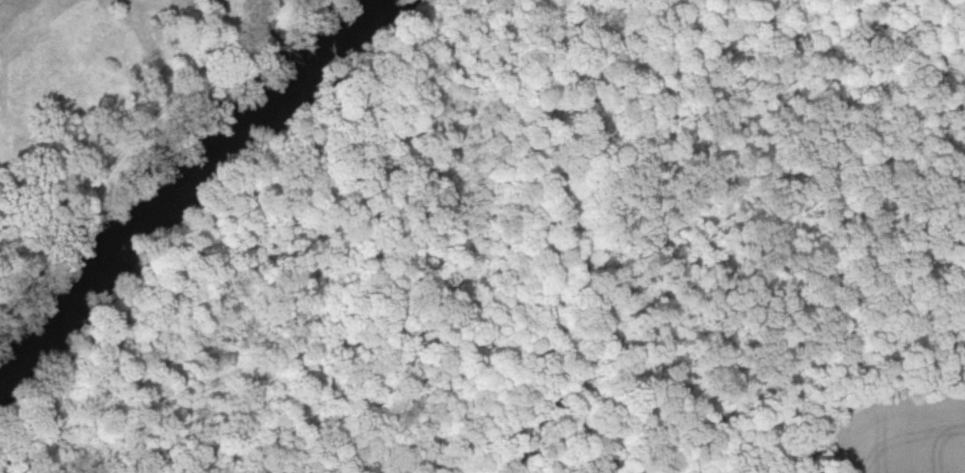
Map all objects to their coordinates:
river: (184, 193)

